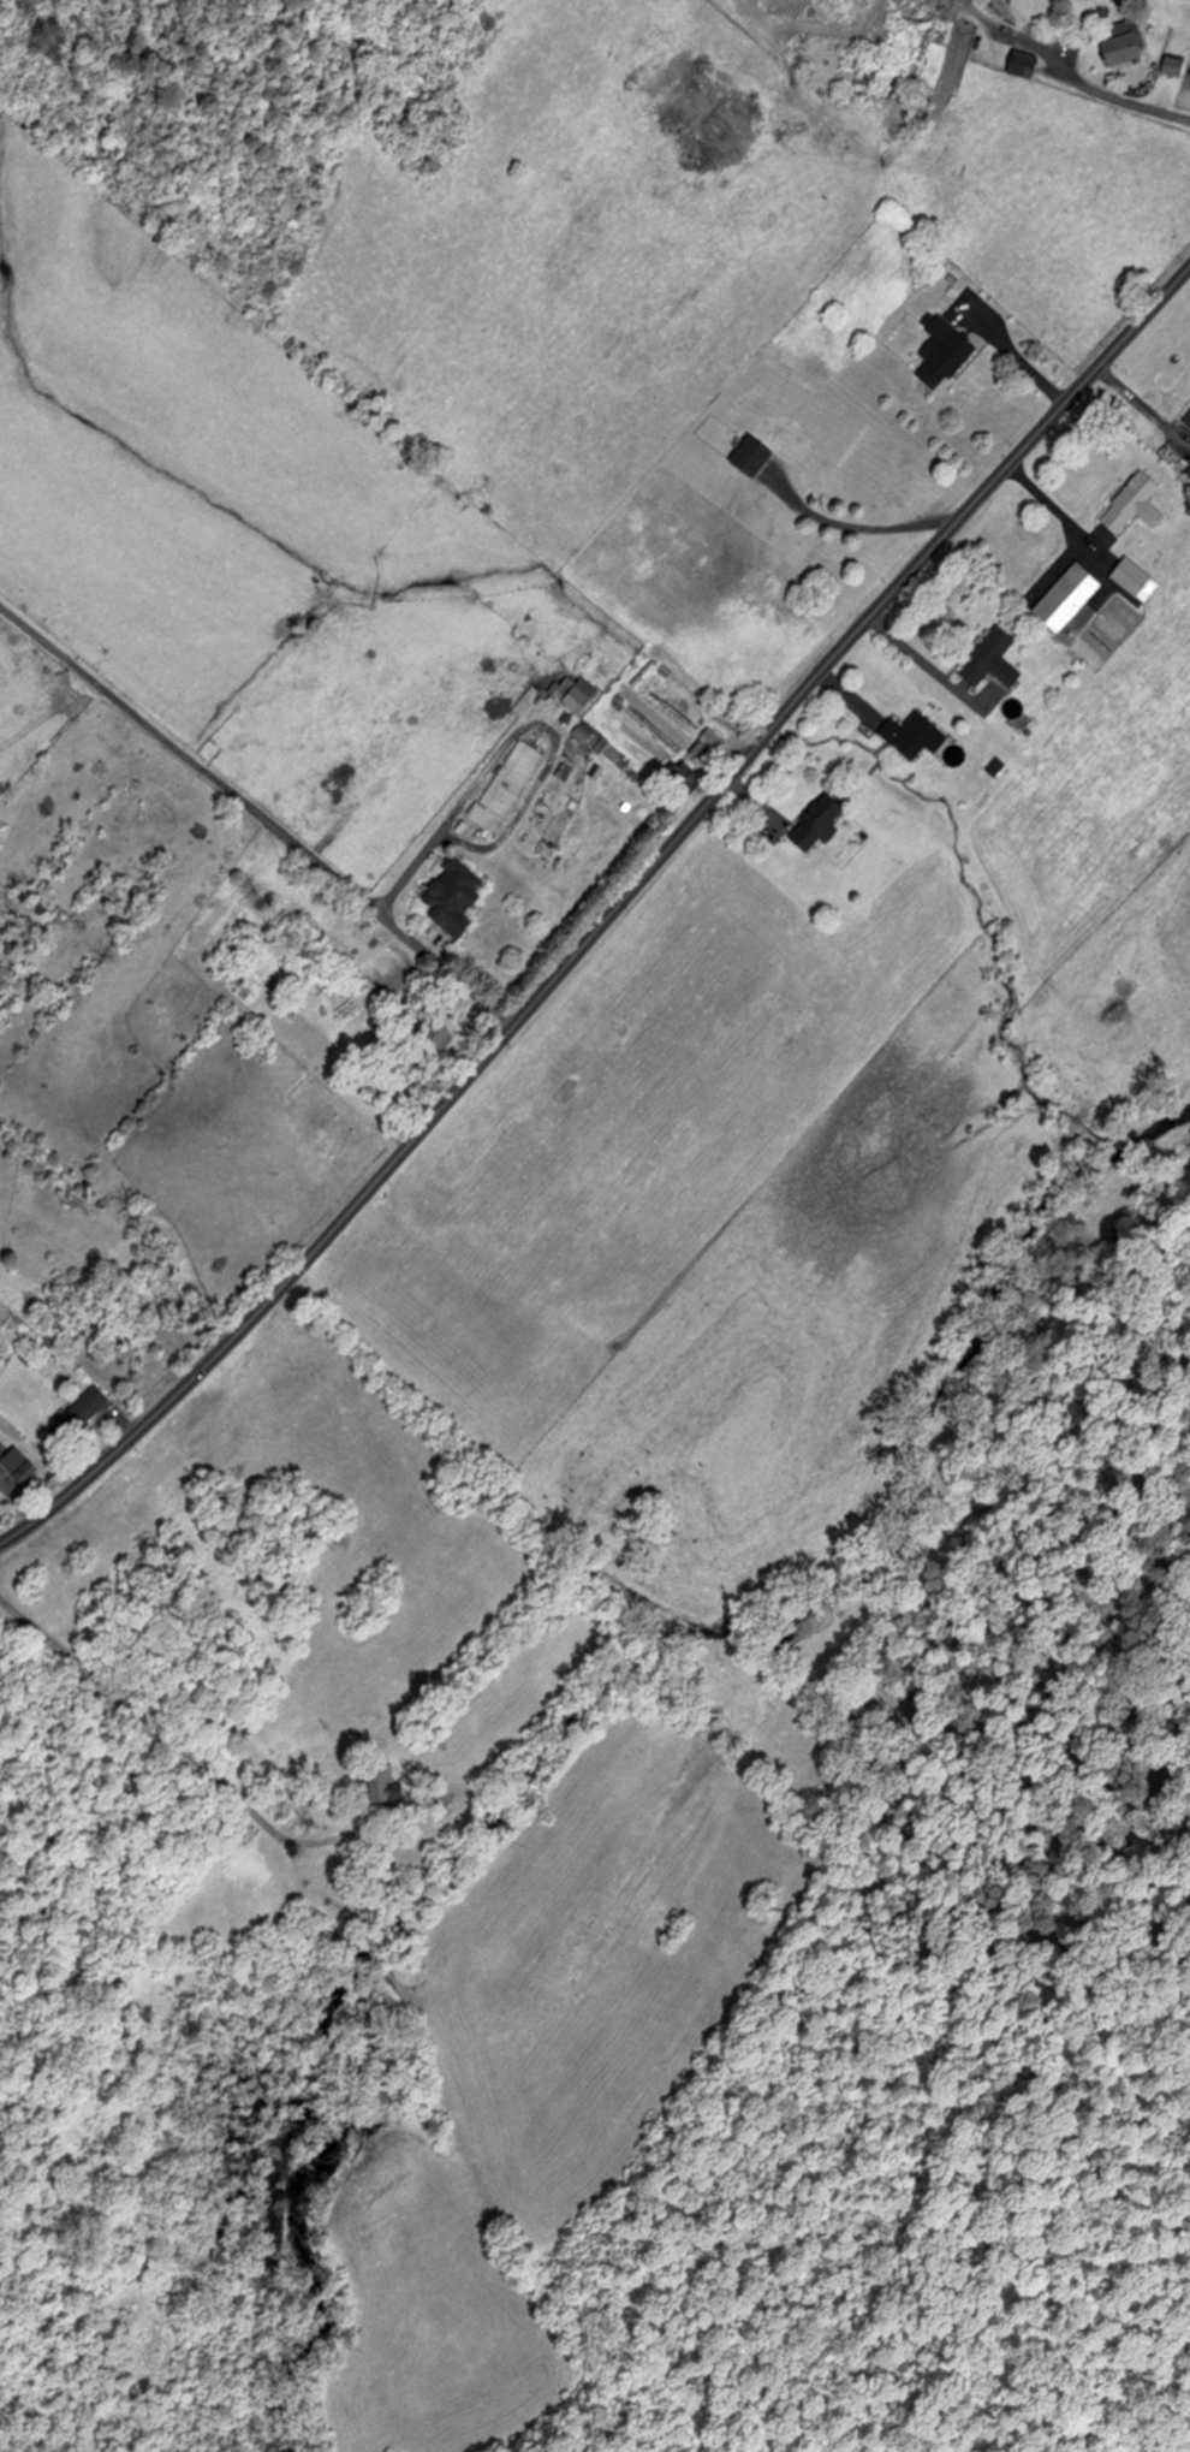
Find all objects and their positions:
building: (1131, 42)
building: (1029, 63)
building: (1178, 65)
road: (1070, 72)
building: (946, 352)
building: (755, 453)
building: (1135, 500)
road: (1052, 507)
road: (861, 529)
building: (1137, 577)
building: (1070, 596)
building: (994, 659)
road: (911, 663)
building: (575, 694)
building: (911, 732)
building: (708, 742)
building: (951, 749)
building: (508, 785)
road: (255, 817)
building: (820, 820)
road: (430, 838)
building: (458, 897)
road: (607, 915)
building: (435, 1027)
building: (1, 1359)
building: (81, 1414)
building: (20, 1465)
road: (162, 1733)
building: (382, 1782)

